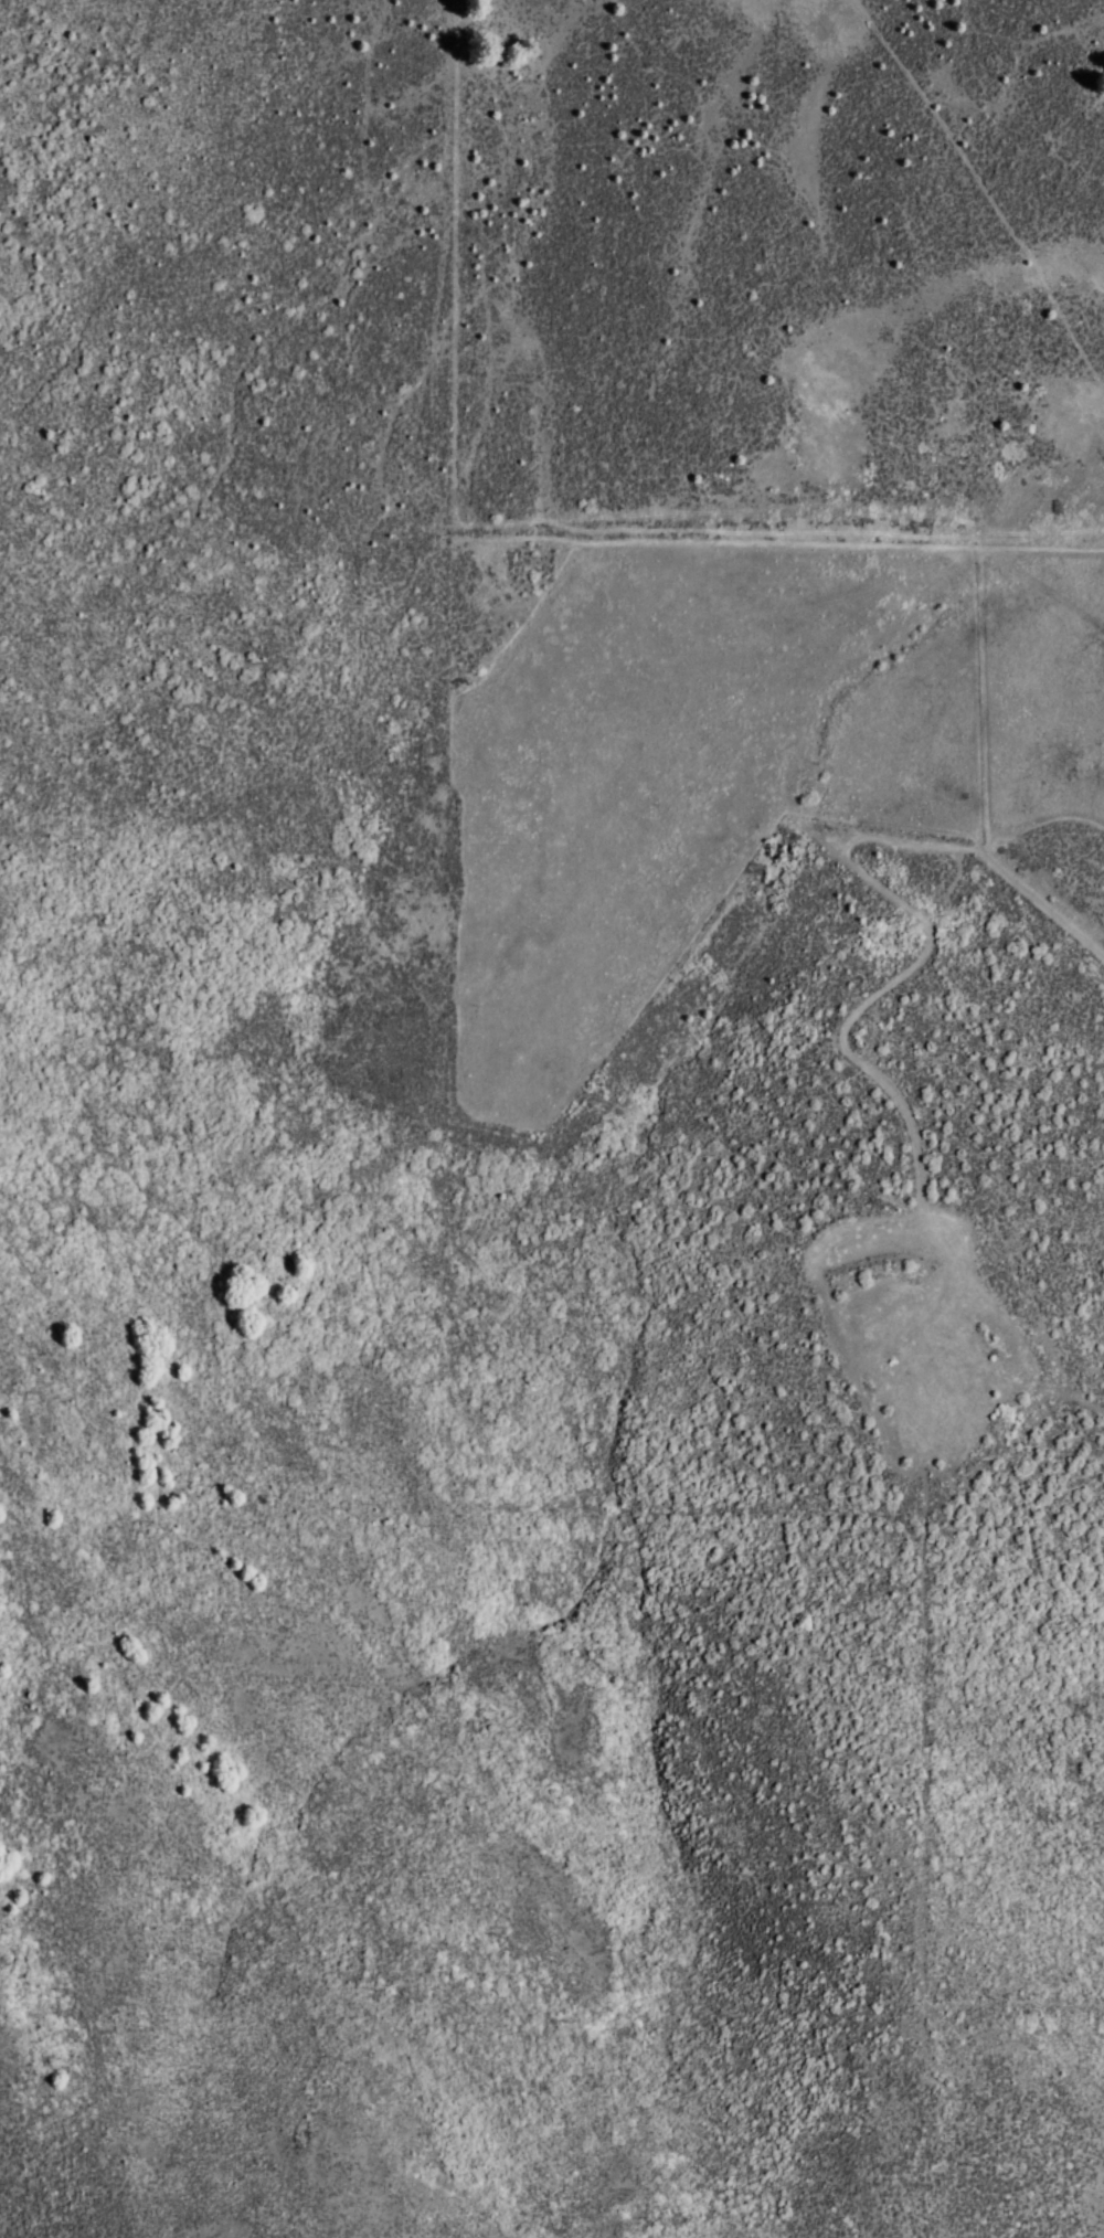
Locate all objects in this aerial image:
crop: (680, 1274)

